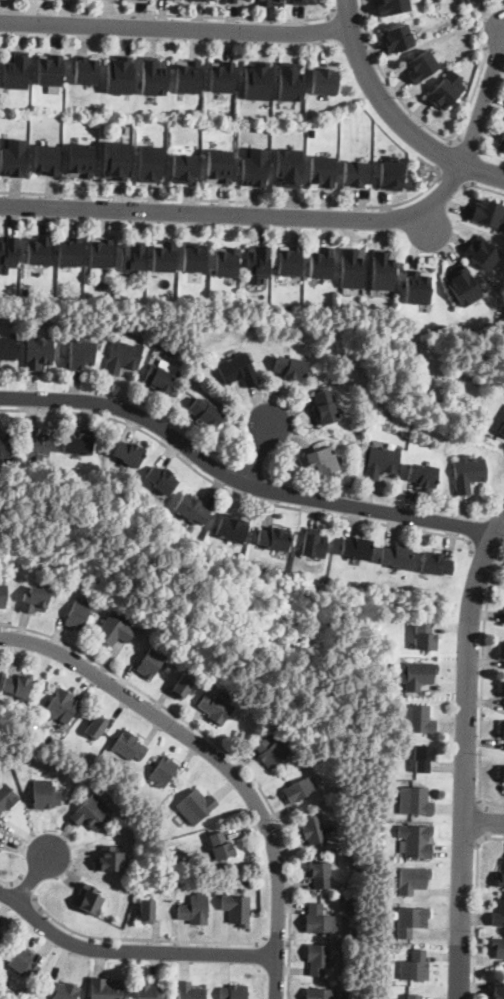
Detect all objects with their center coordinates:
building: (137, 0)
building: (201, 0)
building: (212, 0)
building: (473, 0)
building: (233, 1)
building: (303, 1)
building: (271, 2)
building: (464, 2)
building: (391, 6)
road: (349, 11)
road: (170, 15)
road: (174, 29)
building: (396, 37)
building: (420, 65)
building: (49, 69)
building: (85, 69)
building: (16, 70)
building: (119, 75)
building: (153, 76)
building: (187, 76)
building: (222, 76)
building: (324, 79)
building: (257, 80)
building: (291, 81)
building: (445, 89)
road: (379, 97)
road: (423, 121)
building: (502, 142)
road: (445, 154)
building: (12, 156)
building: (46, 159)
building: (80, 160)
building: (115, 160)
building: (150, 163)
building: (218, 165)
building: (253, 165)
building: (183, 167)
building: (288, 167)
road: (481, 169)
building: (322, 171)
building: (390, 173)
building: (355, 174)
road: (452, 179)
road: (482, 186)
road: (239, 202)
building: (488, 212)
road: (312, 217)
building: (40, 250)
building: (69, 250)
building: (100, 252)
building: (482, 252)
building: (8, 253)
building: (132, 255)
building: (164, 255)
building: (194, 256)
building: (226, 261)
building: (289, 261)
building: (257, 262)
building: (320, 262)
building: (352, 267)
building: (383, 268)
building: (462, 285)
building: (102, 286)
building: (418, 286)
building: (376, 291)
building: (501, 320)
building: (441, 327)
building: (485, 332)
building: (8, 348)
building: (159, 348)
building: (39, 353)
building: (82, 355)
building: (124, 358)
building: (290, 368)
building: (238, 370)
building: (473, 377)
building: (160, 379)
building: (326, 407)
building: (207, 414)
building: (503, 420)
building: (501, 430)
building: (78, 443)
building: (36, 444)
building: (5, 445)
building: (128, 454)
road: (256, 454)
building: (322, 461)
building: (381, 462)
building: (468, 473)
building: (423, 475)
building: (161, 480)
road: (238, 480)
road: (233, 492)
building: (193, 510)
building: (231, 528)
building: (274, 538)
building: (313, 544)
building: (357, 549)
road: (488, 553)
building: (396, 557)
building: (435, 564)
building: (2, 596)
building: (33, 601)
building: (76, 615)
building: (503, 622)
building: (111, 632)
building: (422, 635)
building: (502, 651)
building: (149, 663)
building: (417, 675)
road: (483, 683)
building: (15, 684)
building: (179, 687)
building: (502, 687)
building: (58, 705)
building: (214, 708)
building: (414, 719)
building: (93, 727)
building: (503, 730)
building: (127, 745)
road: (228, 752)
building: (271, 752)
road: (465, 755)
building: (113, 758)
building: (421, 758)
road: (218, 761)
building: (161, 771)
building: (502, 775)
building: (298, 790)
building: (45, 795)
building: (6, 798)
building: (413, 801)
building: (195, 806)
building: (92, 812)
road: (483, 821)
road: (486, 823)
building: (315, 831)
building: (415, 841)
building: (221, 847)
building: (109, 861)
building: (170, 861)
building: (319, 875)
road: (31, 880)
building: (410, 880)
building: (500, 880)
road: (12, 882)
road: (27, 889)
building: (88, 899)
building: (350, 902)
road: (476, 907)
building: (193, 910)
building: (237, 910)
building: (144, 912)
building: (498, 916)
building: (319, 920)
building: (409, 921)
building: (0, 934)
road: (146, 939)
road: (277, 944)
building: (498, 948)
road: (130, 950)
building: (318, 959)
building: (23, 964)
building: (414, 966)
building: (387, 968)
building: (105, 989)
building: (60, 990)
building: (147, 991)
building: (189, 991)
building: (497, 991)
building: (233, 992)
building: (320, 994)
building: (410, 997)

